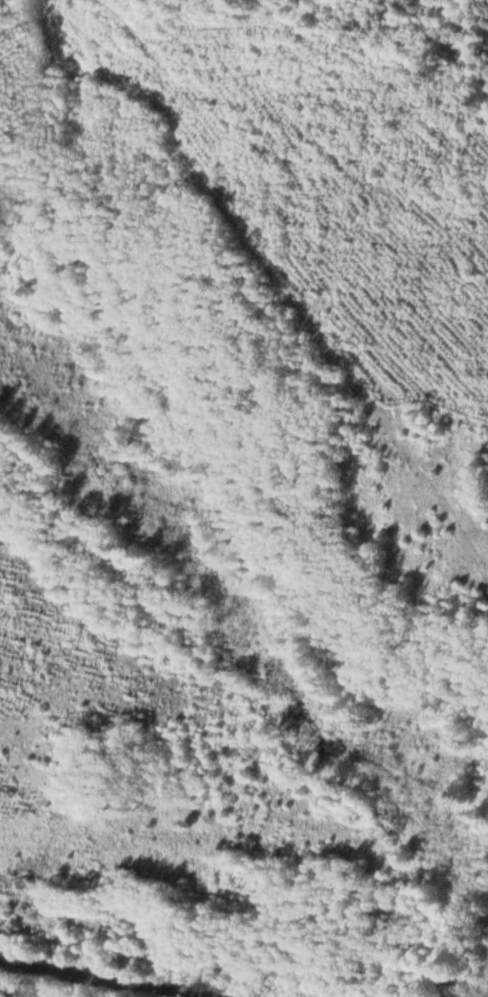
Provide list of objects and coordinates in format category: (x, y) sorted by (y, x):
road: (103, 972)

